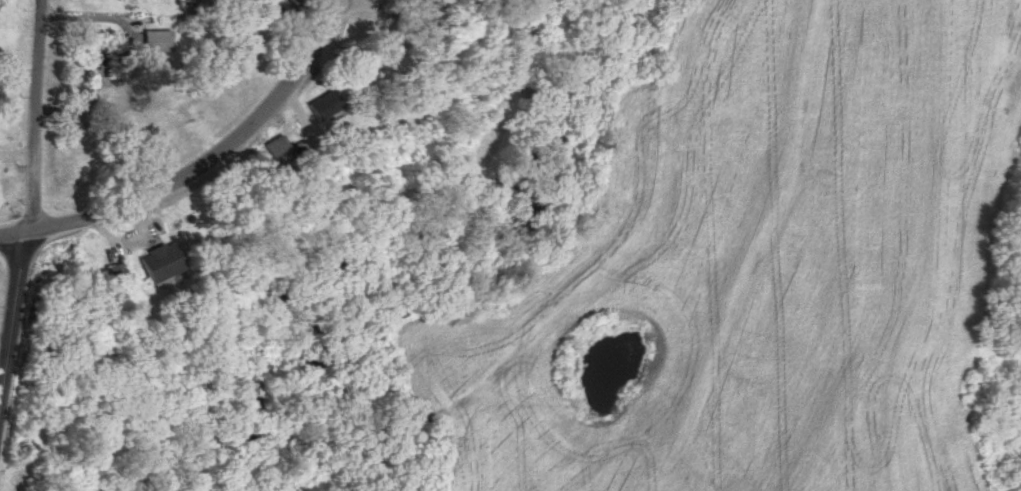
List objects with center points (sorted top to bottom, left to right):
building: (187, 1)
building: (420, 20)
building: (153, 41)
road: (34, 116)
road: (16, 151)
road: (215, 177)
building: (158, 263)
building: (111, 274)
road: (12, 307)
road: (4, 333)

